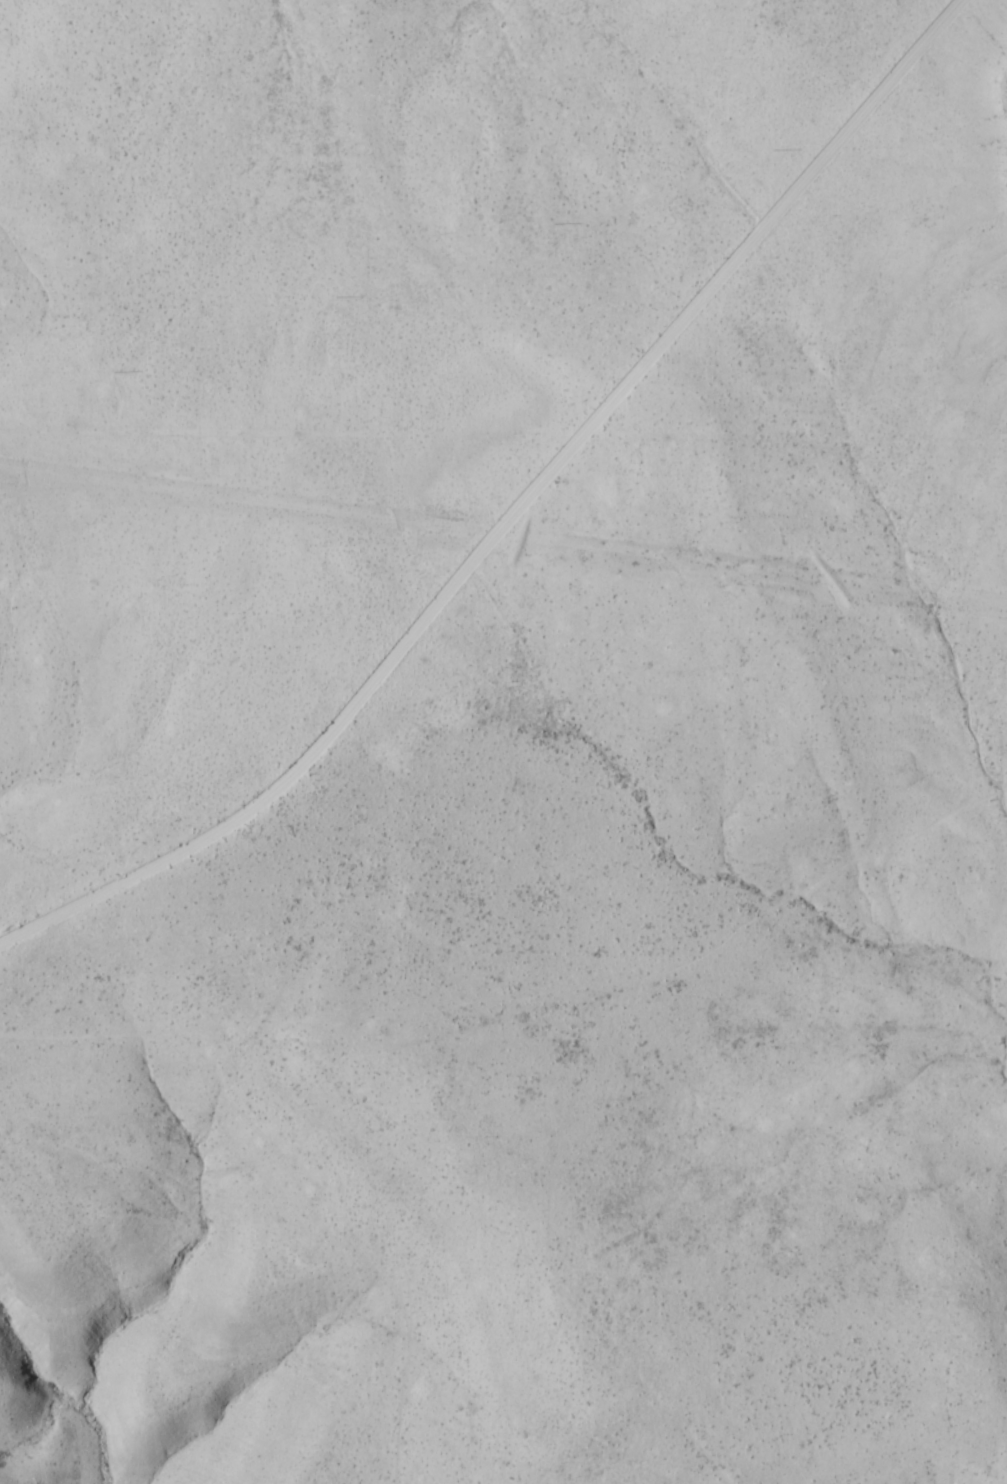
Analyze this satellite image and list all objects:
road: (527, 523)

